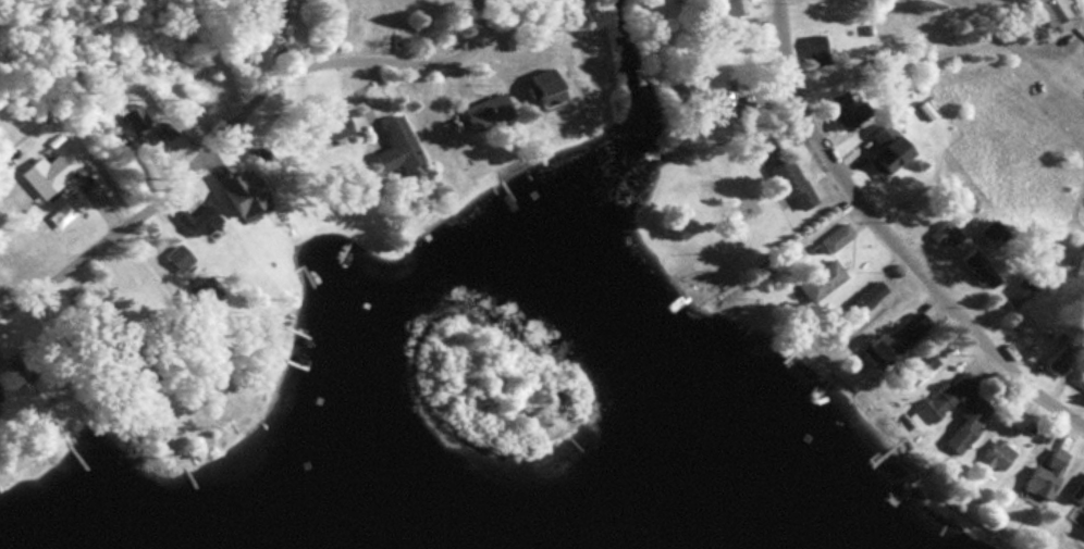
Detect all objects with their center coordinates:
building: (730, 10)
building: (1050, 12)
road: (1010, 43)
building: (815, 50)
building: (704, 91)
building: (846, 109)
building: (484, 112)
building: (133, 118)
road: (232, 120)
building: (329, 129)
building: (396, 141)
building: (48, 171)
building: (789, 183)
building: (990, 233)
building: (945, 235)
building: (834, 237)
road: (894, 239)
building: (977, 270)
building: (818, 279)
building: (1015, 291)
building: (865, 297)
building: (1025, 321)
building: (888, 344)
building: (1058, 360)
building: (125, 367)
building: (911, 367)
building: (19, 373)
building: (946, 396)
building: (965, 423)
building: (995, 454)
building: (1043, 474)
building: (1080, 494)
building: (1082, 519)

